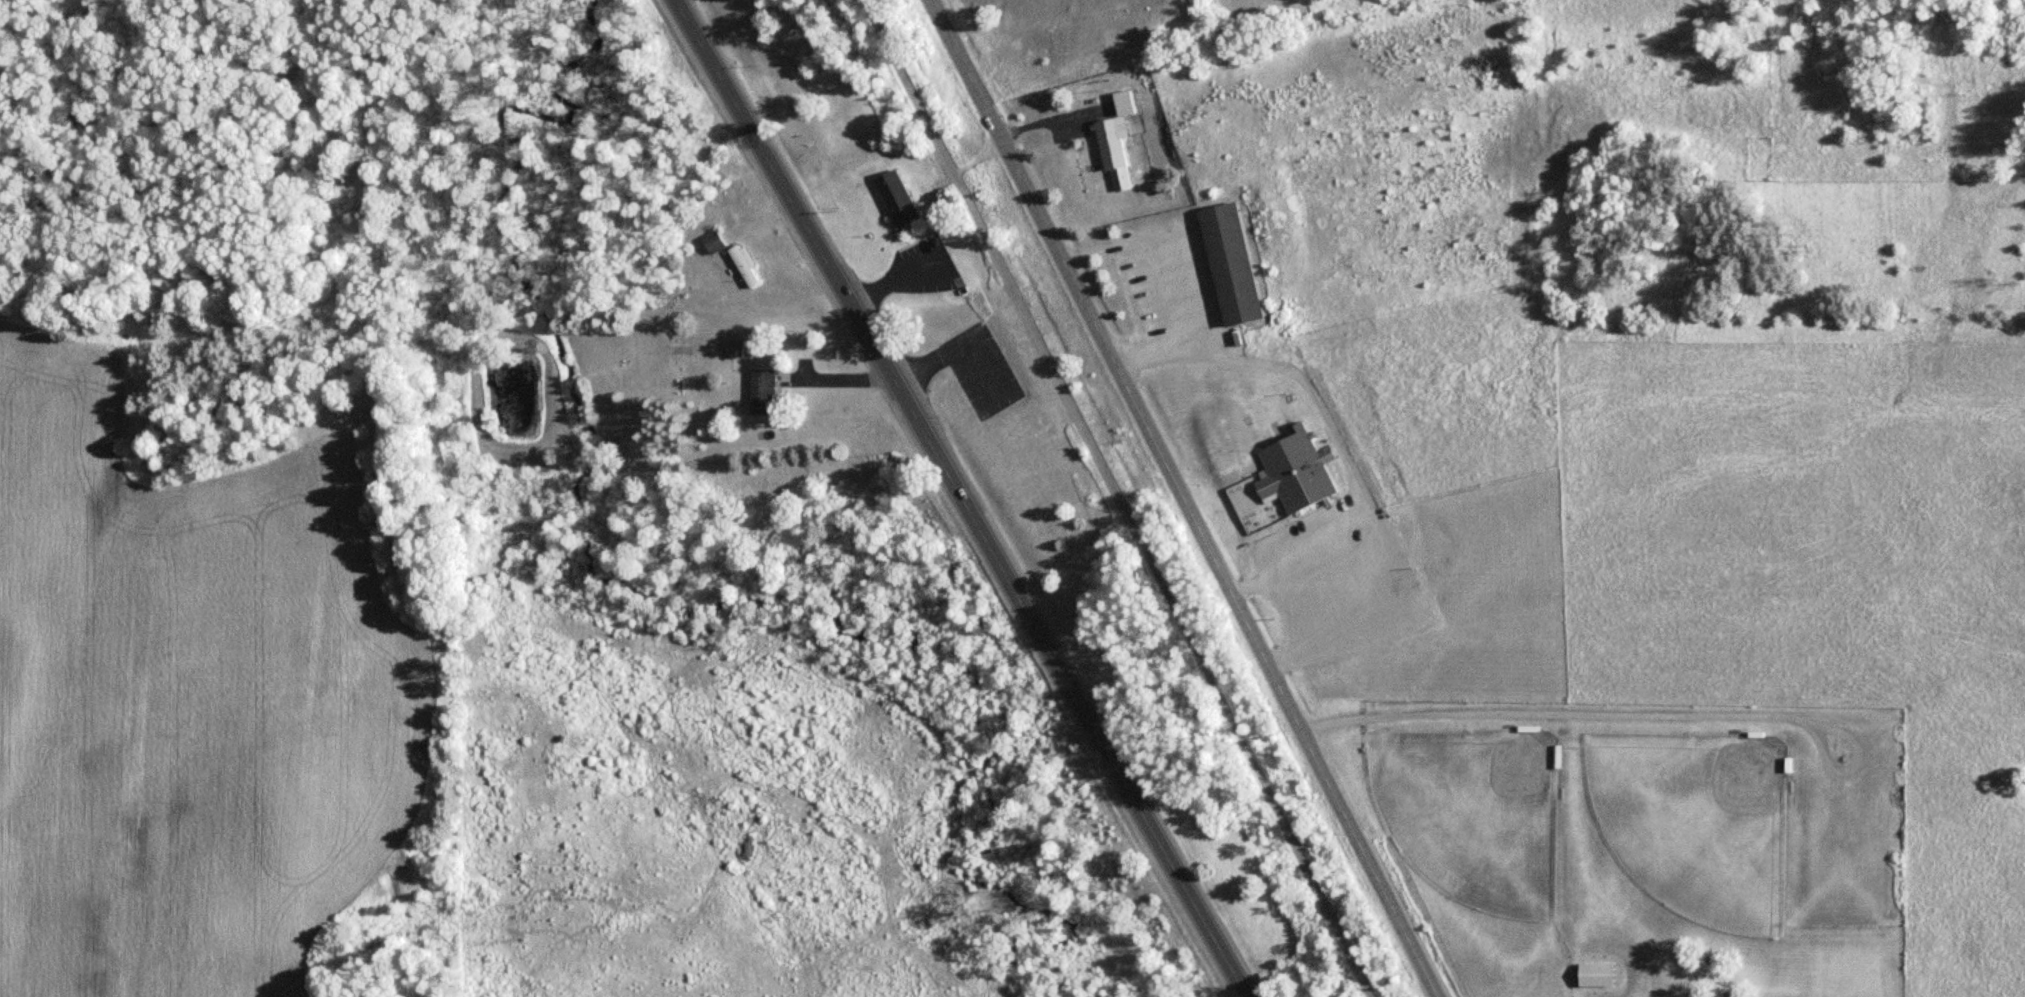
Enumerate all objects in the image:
building: (1110, 154)
building: (893, 198)
building: (711, 242)
road: (1158, 252)
building: (1226, 264)
building: (741, 265)
building: (760, 391)
road: (1327, 427)
building: (1291, 468)
road: (1118, 498)
road: (1183, 498)
road: (961, 500)
park: (1472, 811)
park: (1694, 819)
building: (1591, 974)
road: (1540, 979)

